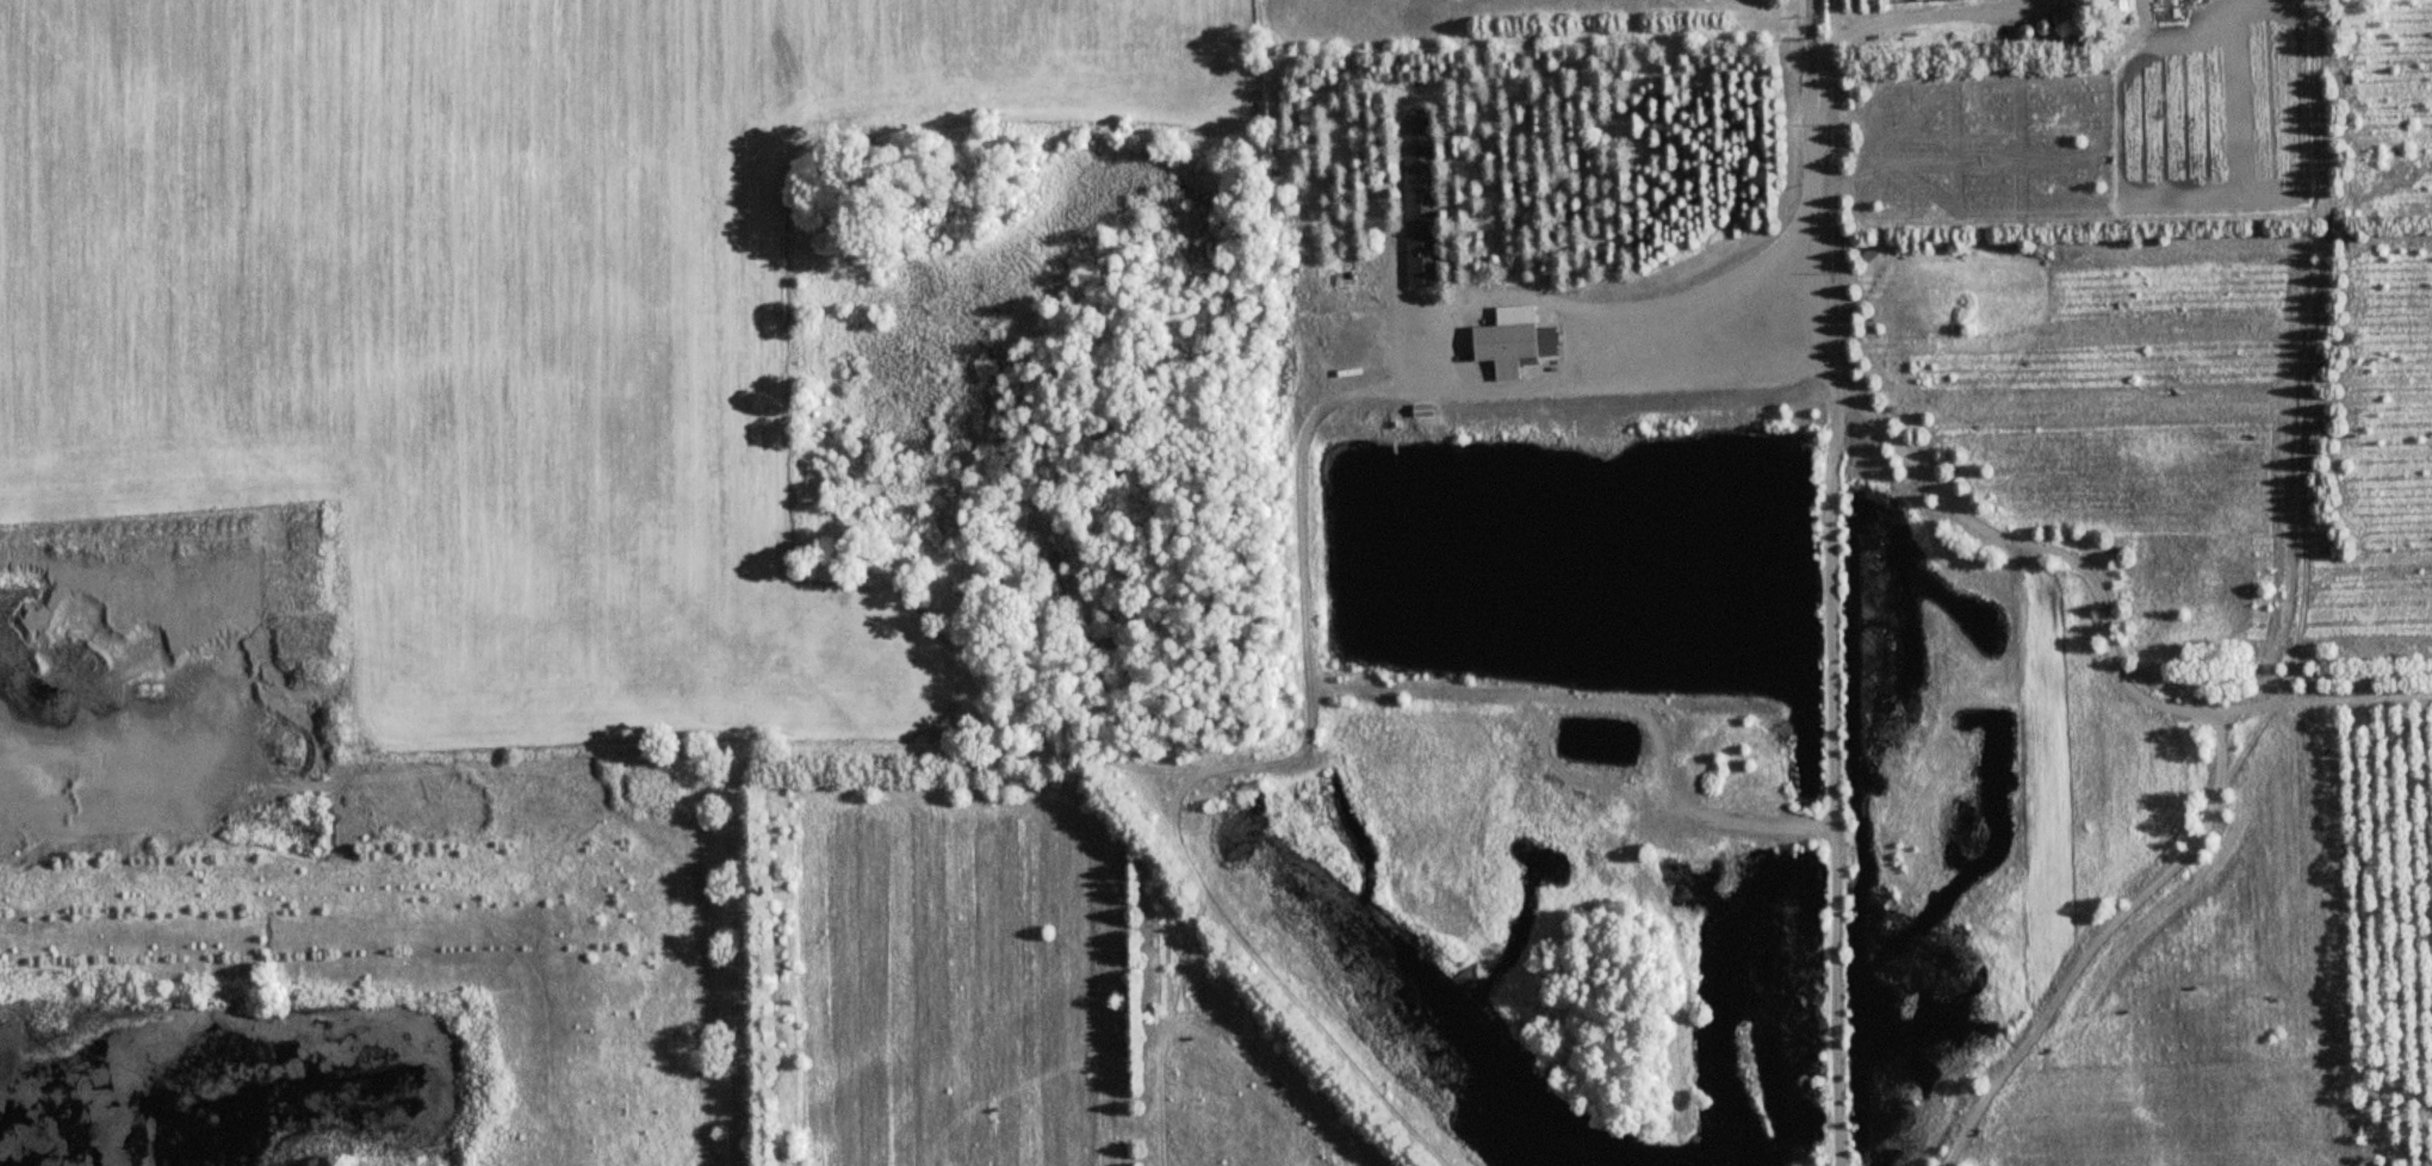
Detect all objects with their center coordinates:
road: (1810, 107)
building: (1423, 199)
building: (1509, 345)

